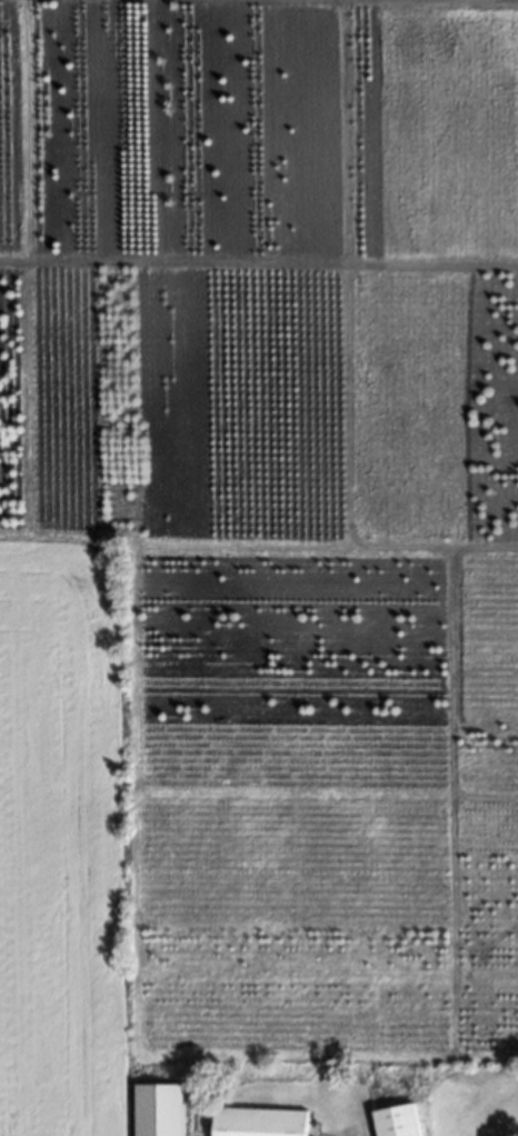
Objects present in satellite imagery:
building: (158, 1108)
building: (398, 1119)
building: (258, 1120)

